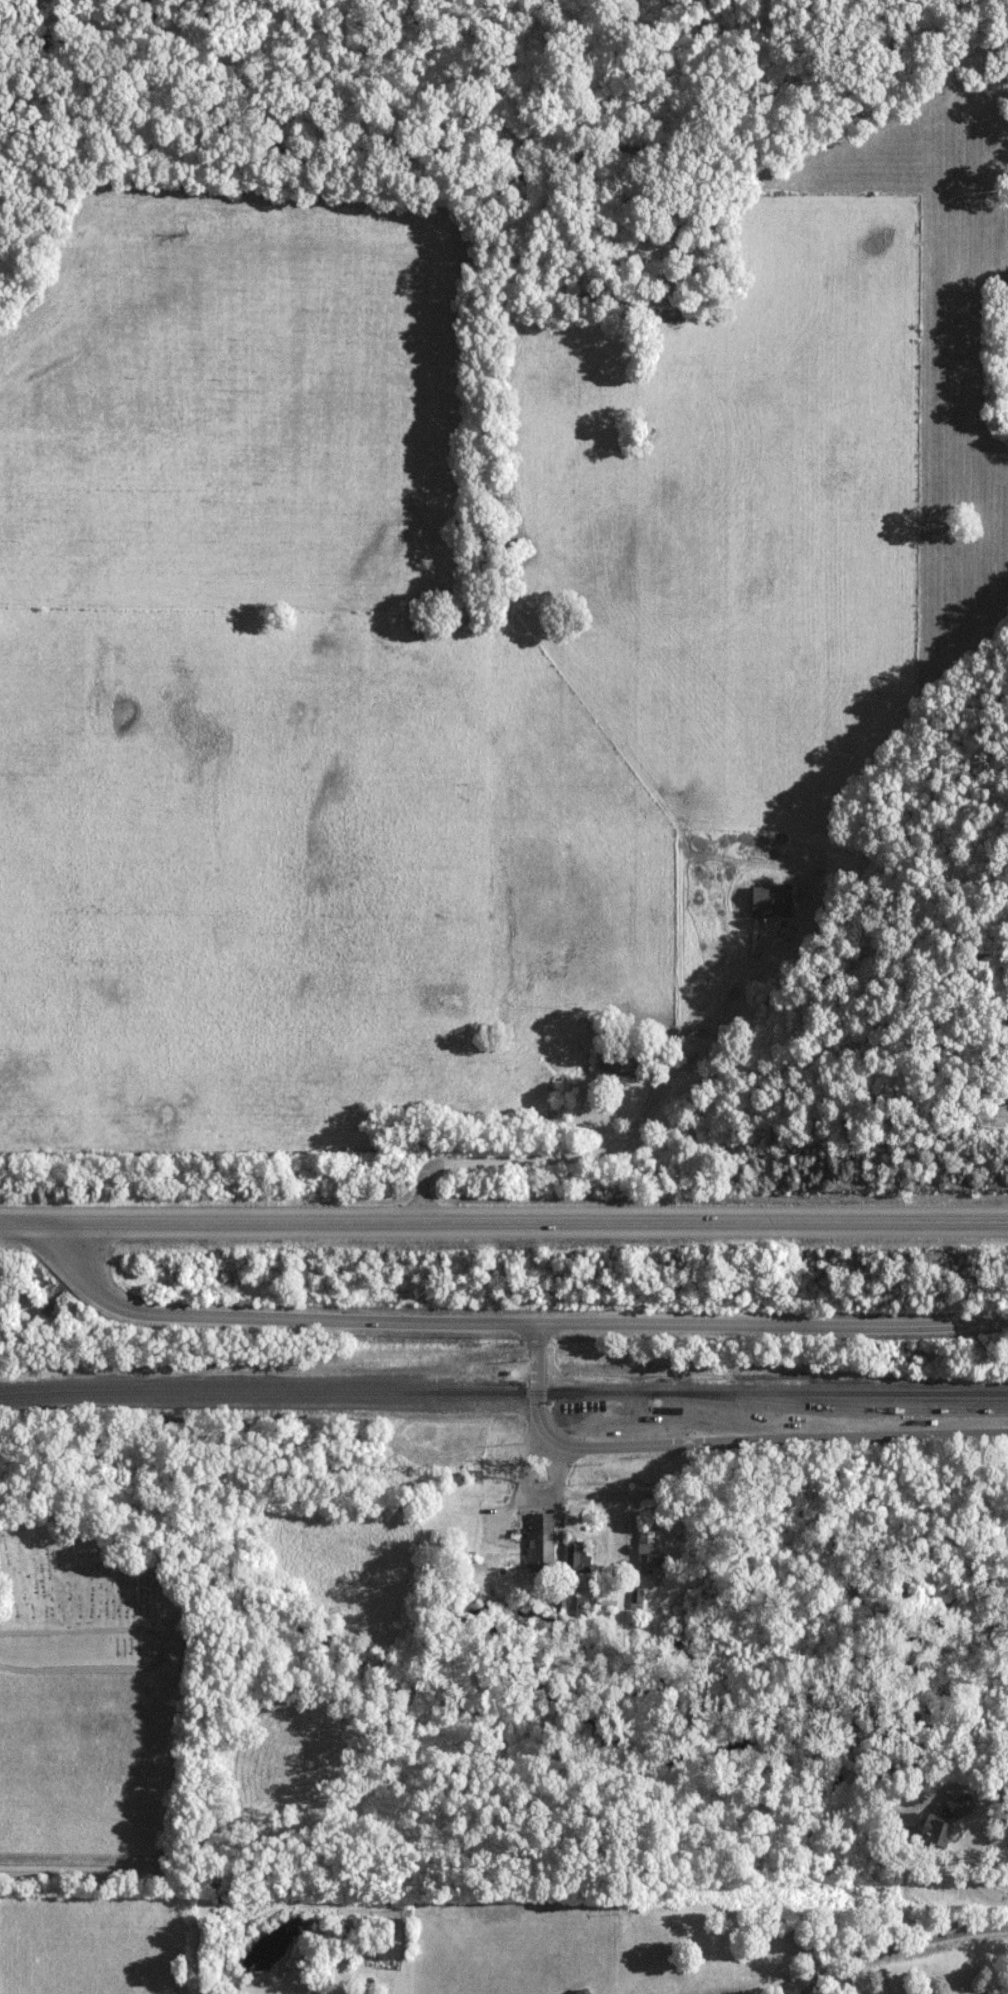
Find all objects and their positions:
building: (772, 901)
building: (619, 1063)
road: (549, 1158)
road: (503, 1220)
road: (510, 1324)
railway: (503, 1392)
railway: (840, 1407)
road: (719, 1442)
building: (542, 1542)
building: (650, 1553)
building: (578, 1557)
road: (881, 1914)

